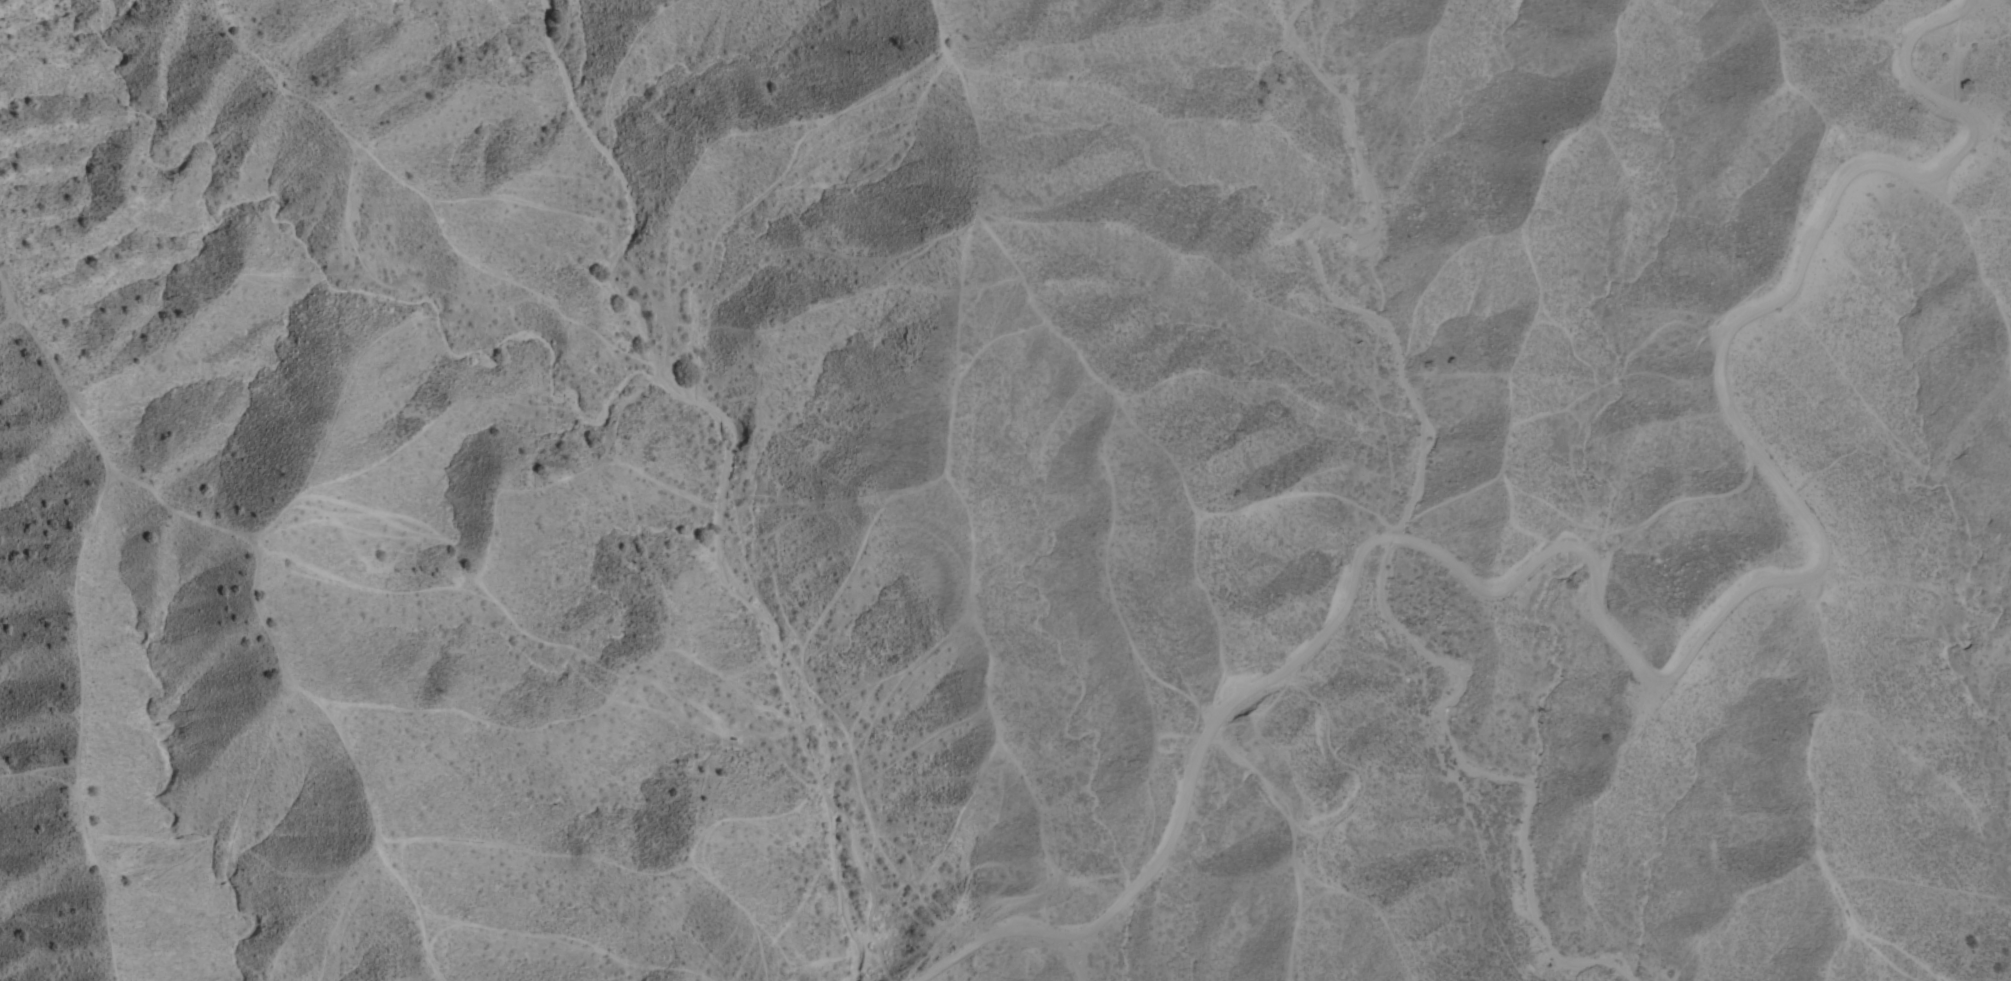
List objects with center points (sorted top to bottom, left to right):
road: (1624, 658)

